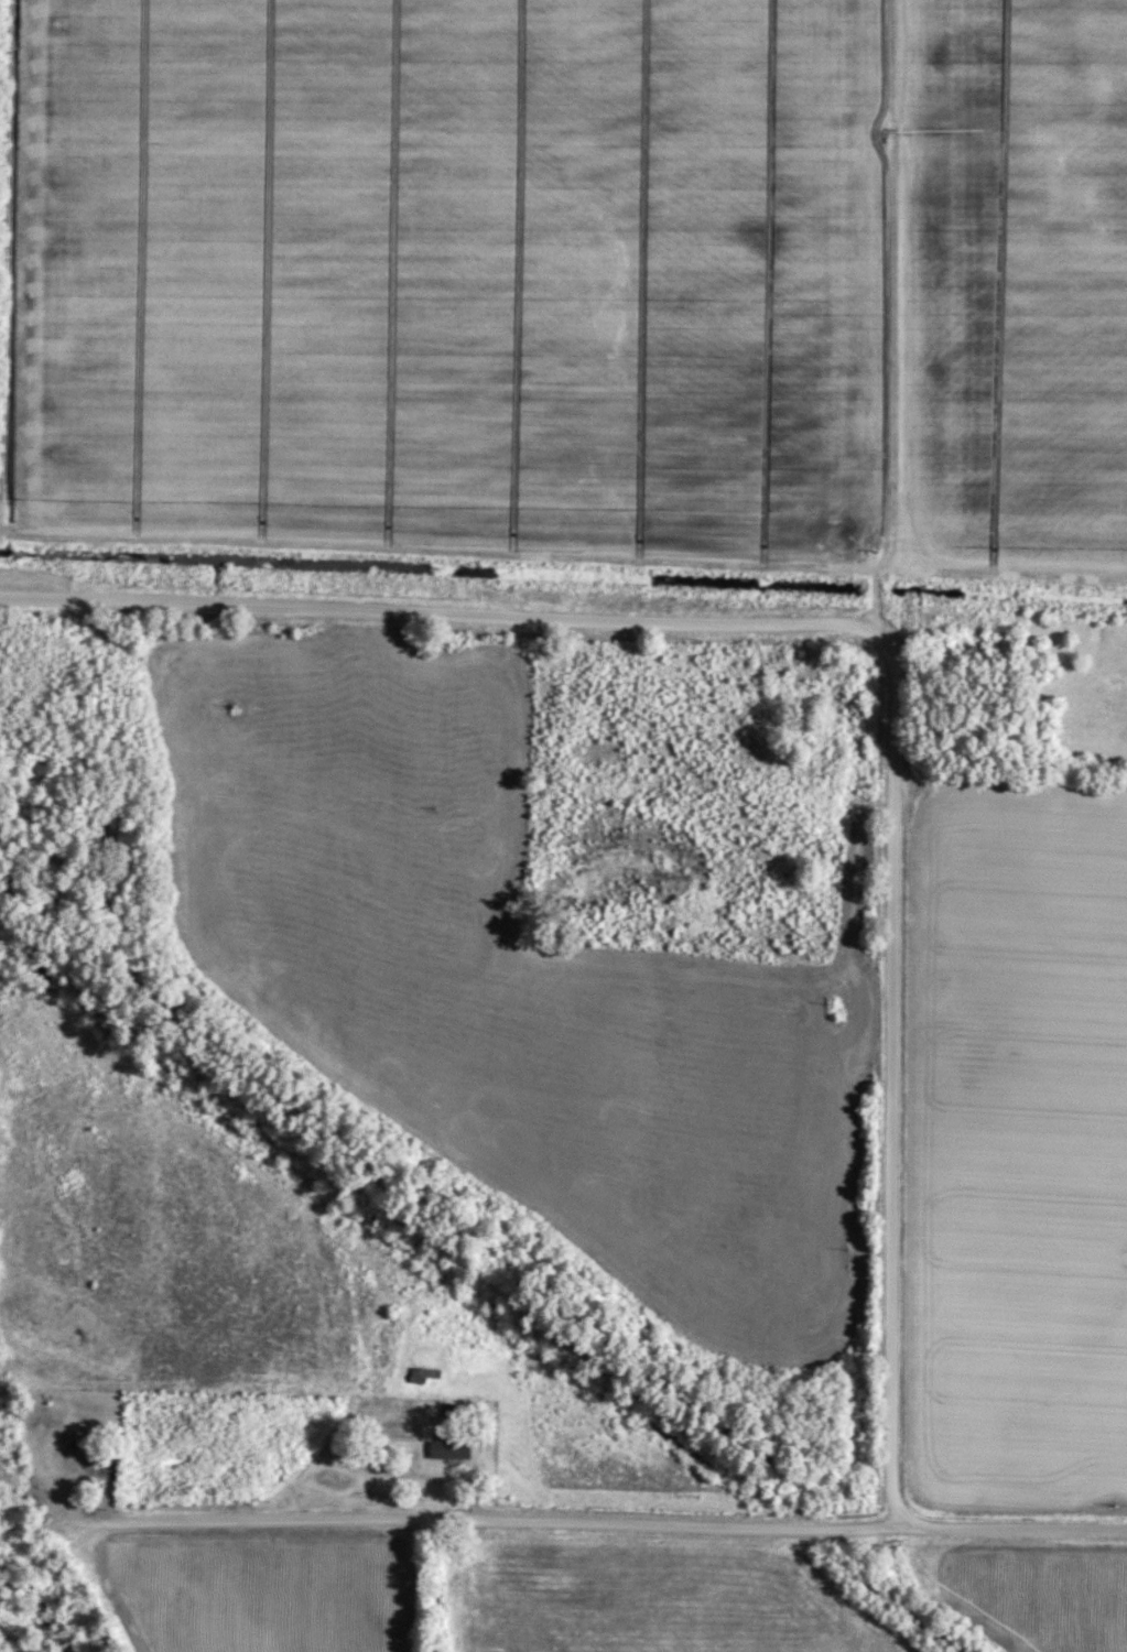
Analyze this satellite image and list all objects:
road: (884, 642)
building: (422, 1373)
building: (447, 1448)
building: (67, 1458)
building: (334, 1478)
road: (604, 1524)

